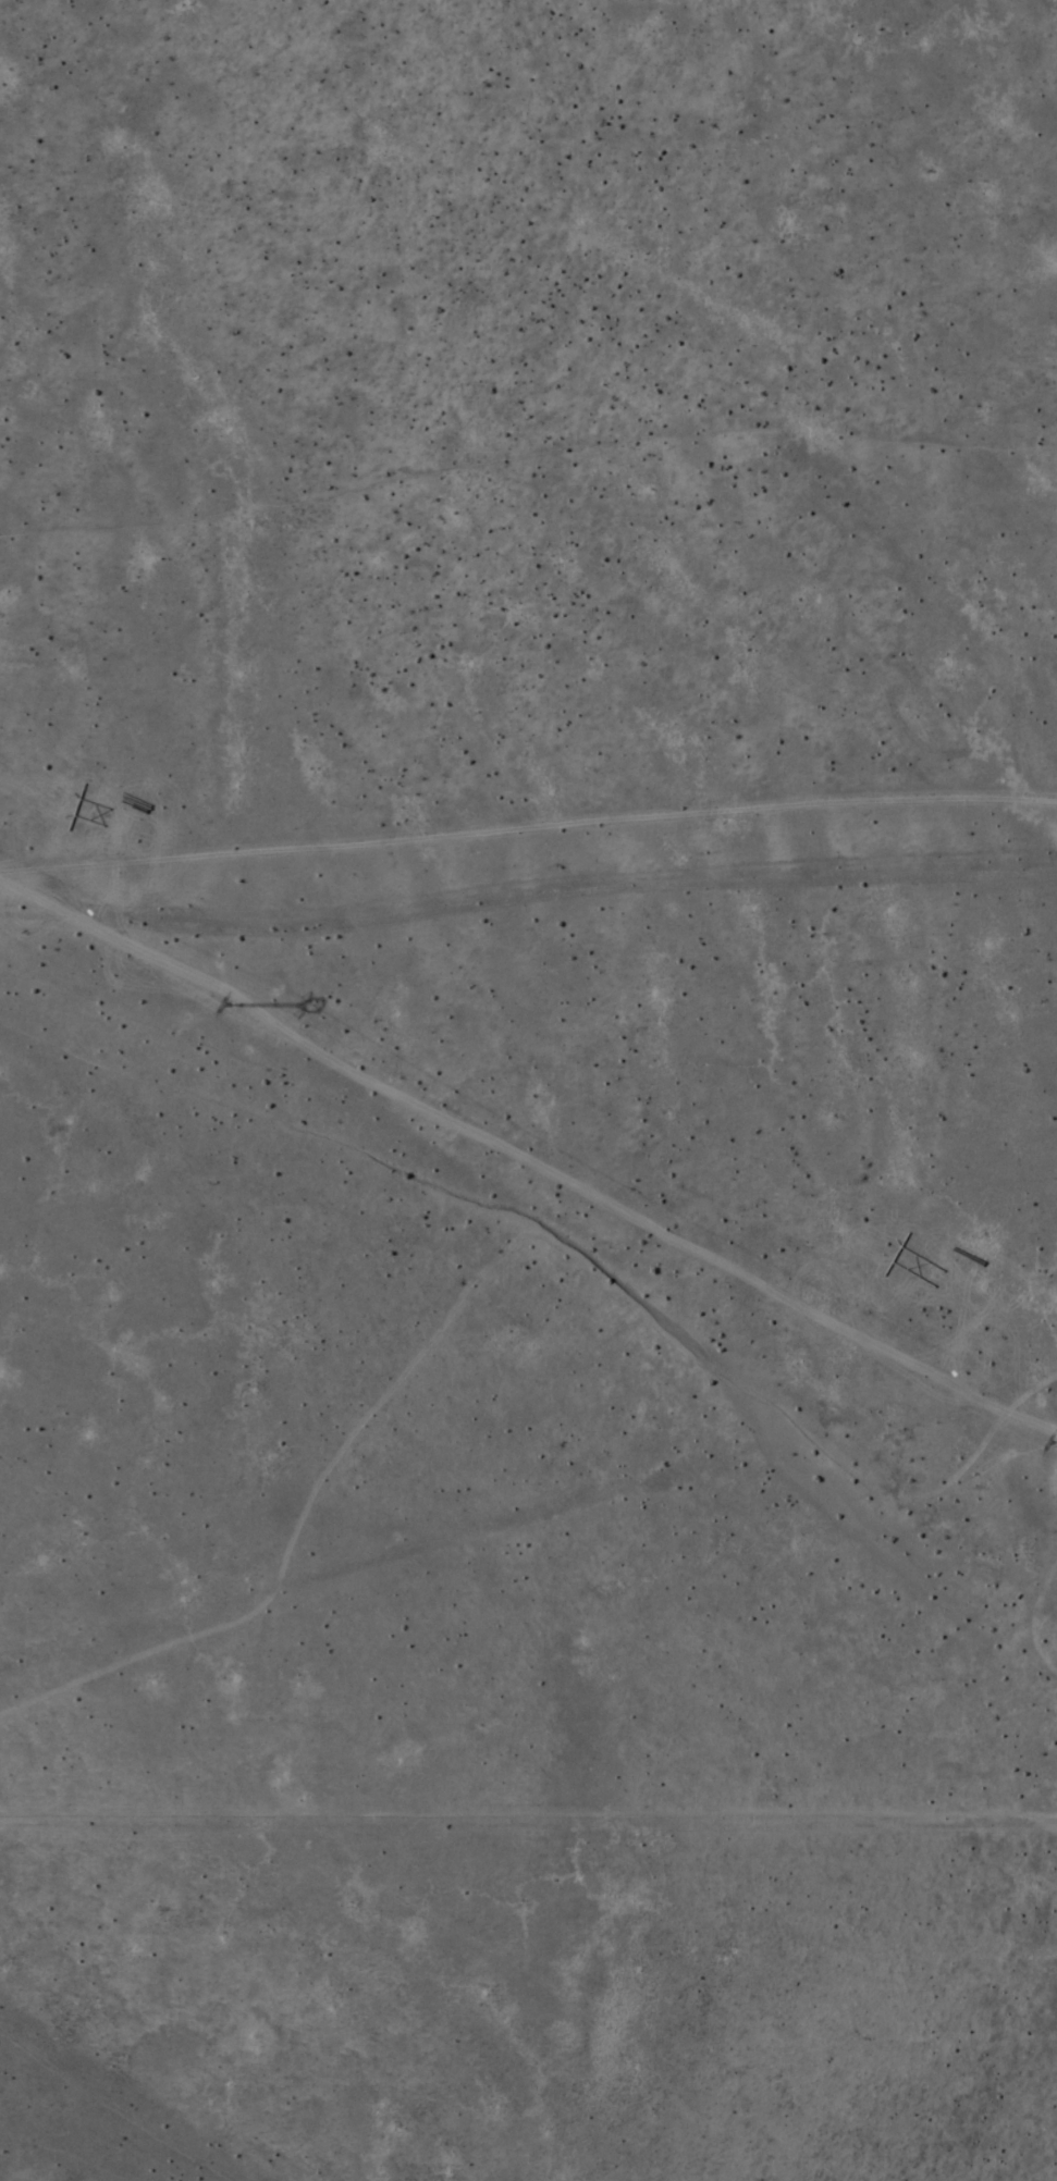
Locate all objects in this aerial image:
road: (528, 911)
power tower: (229, 1006)
power tower: (1053, 1442)

